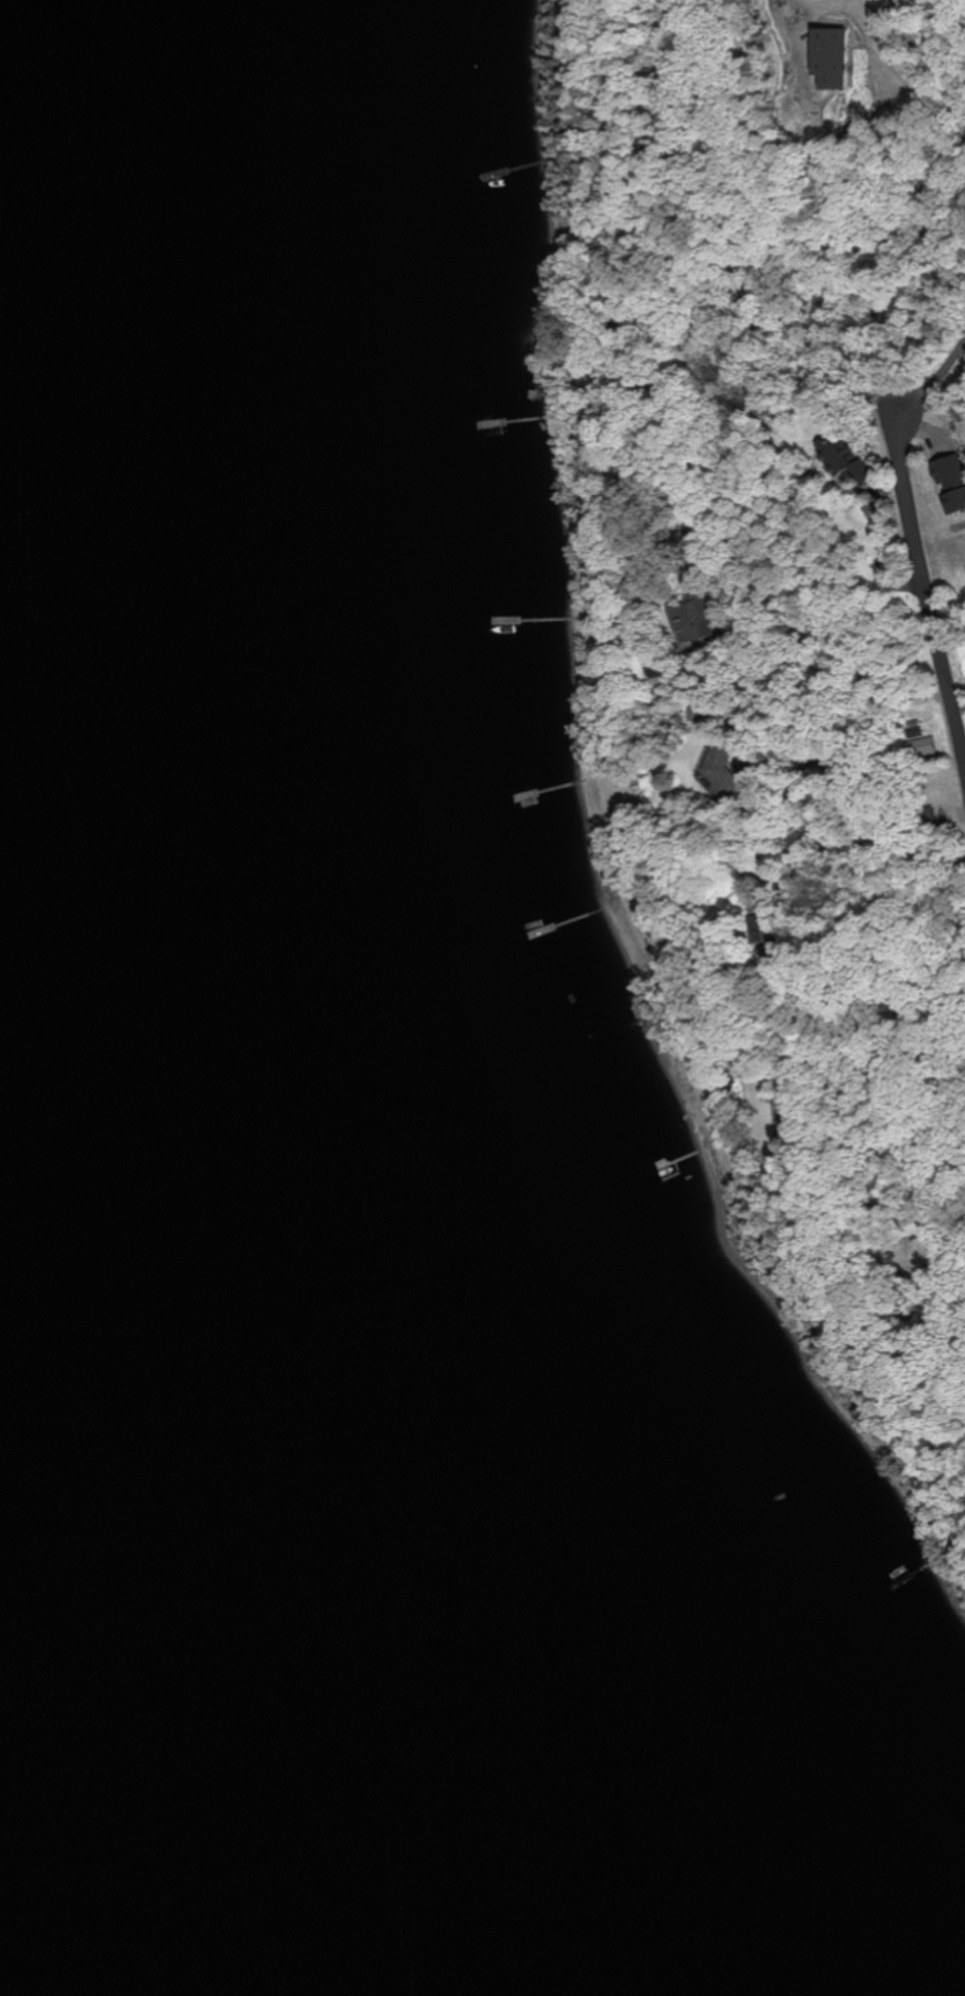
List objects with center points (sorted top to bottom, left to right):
road: (945, 52)
road: (937, 372)
road: (924, 584)
building: (699, 612)
road: (811, 736)
building: (927, 747)
building: (721, 768)
road: (779, 806)
building: (767, 927)
road: (940, 1287)
river: (107, 1534)

